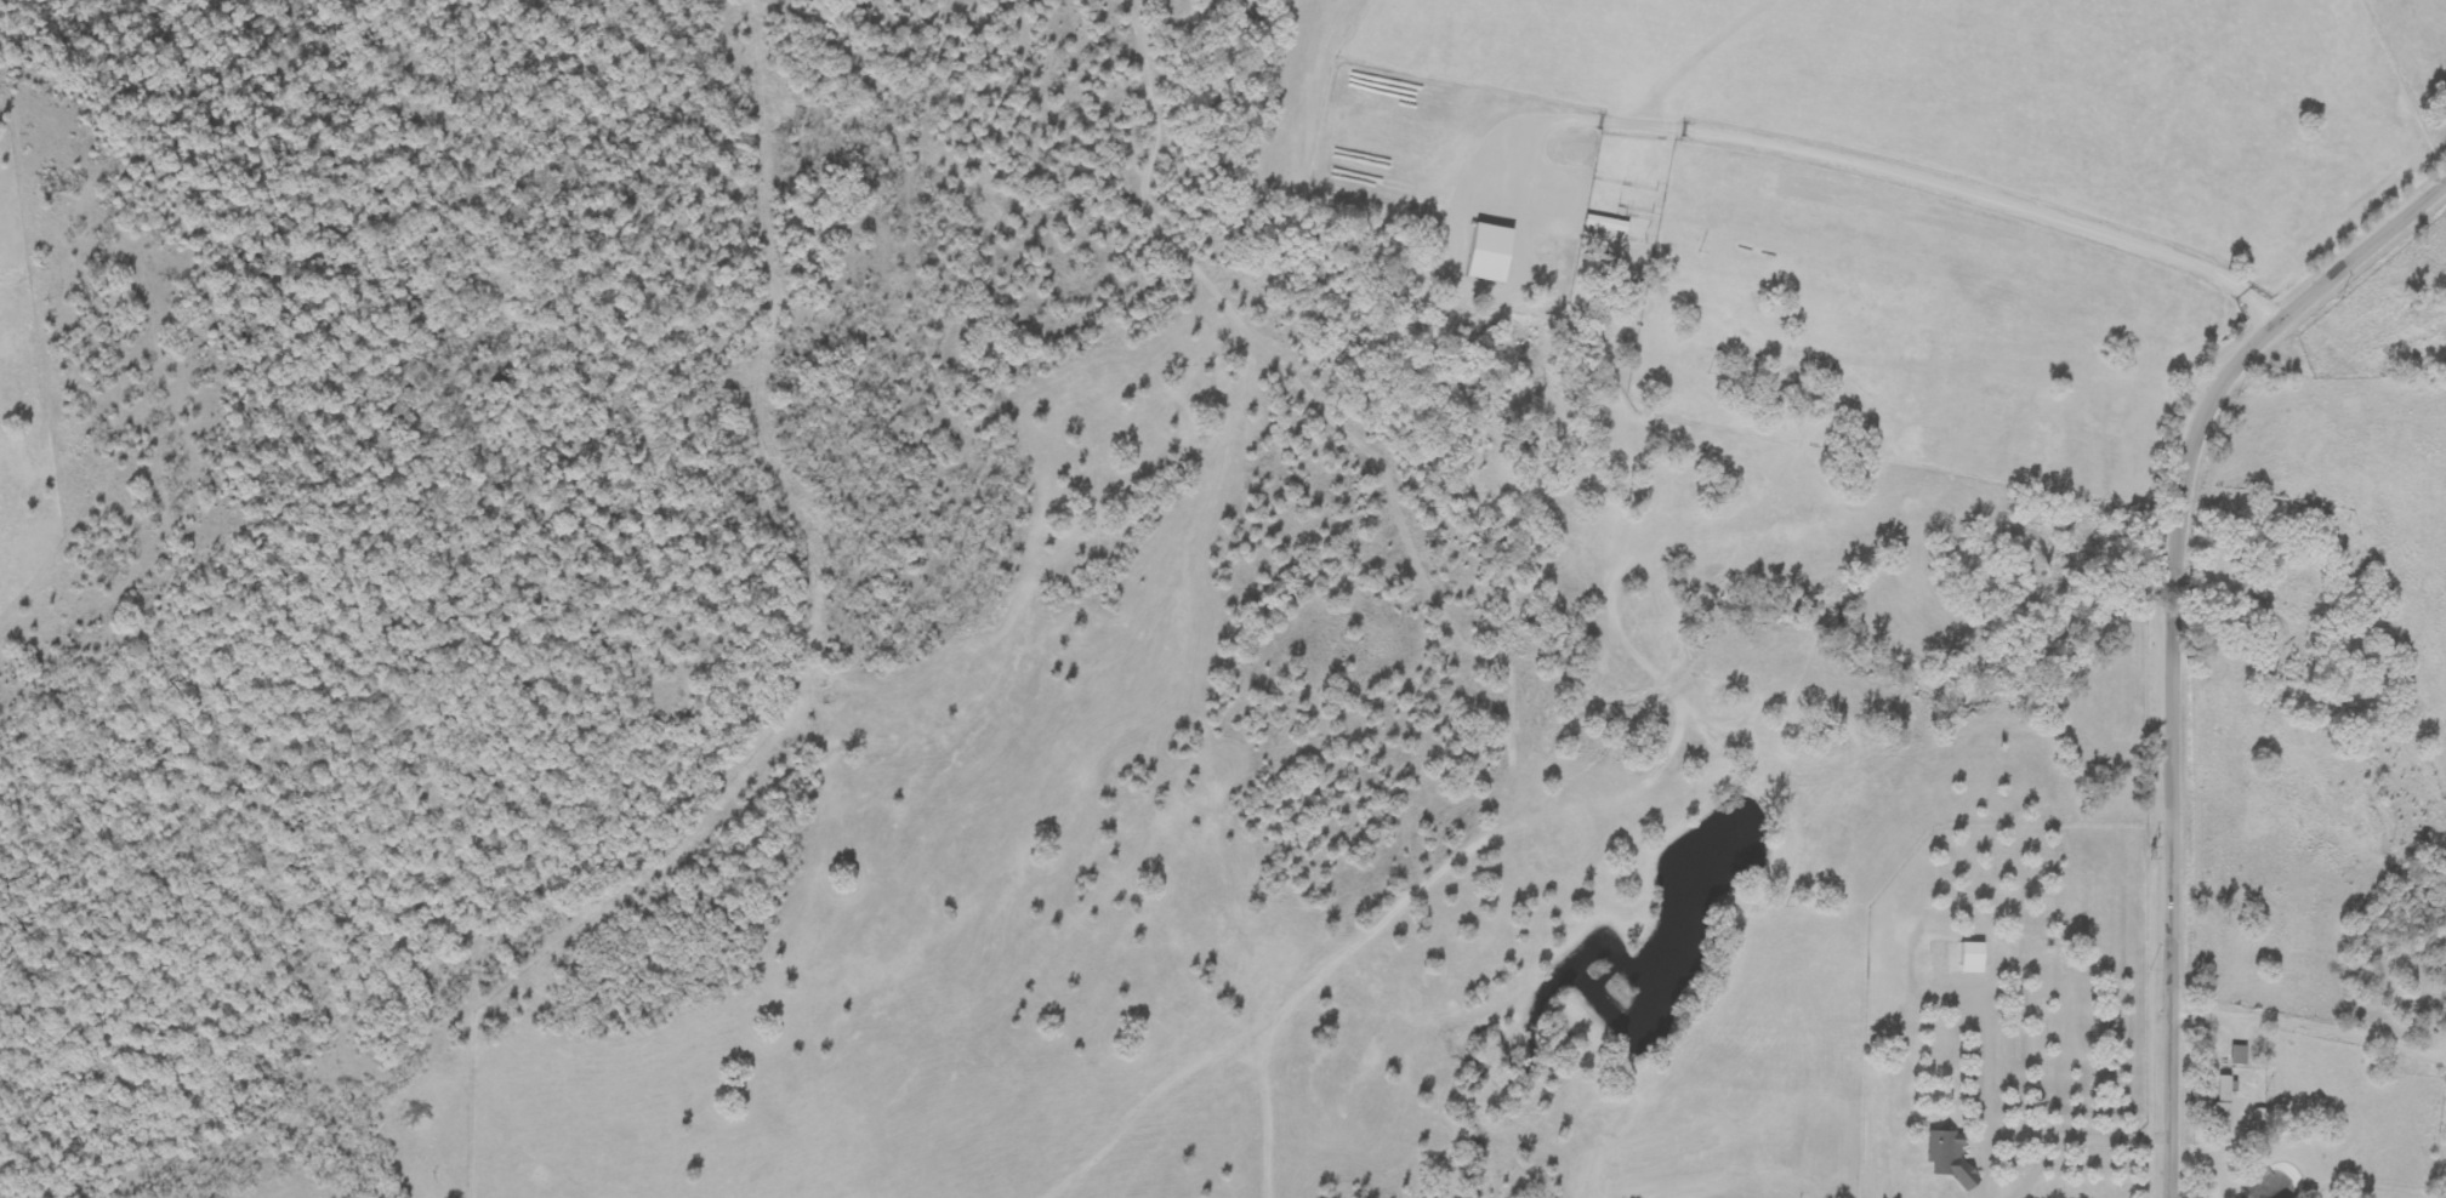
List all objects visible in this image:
road: (1881, 160)
crop: (1887, 193)
building: (1487, 261)
building: (1626, 318)
road: (2260, 337)
building: (1691, 426)
road: (2177, 575)
road: (2173, 894)
building: (1963, 971)
building: (2444, 998)
road: (2311, 1033)
building: (2237, 1055)
building: (2219, 1112)
building: (1939, 1171)

